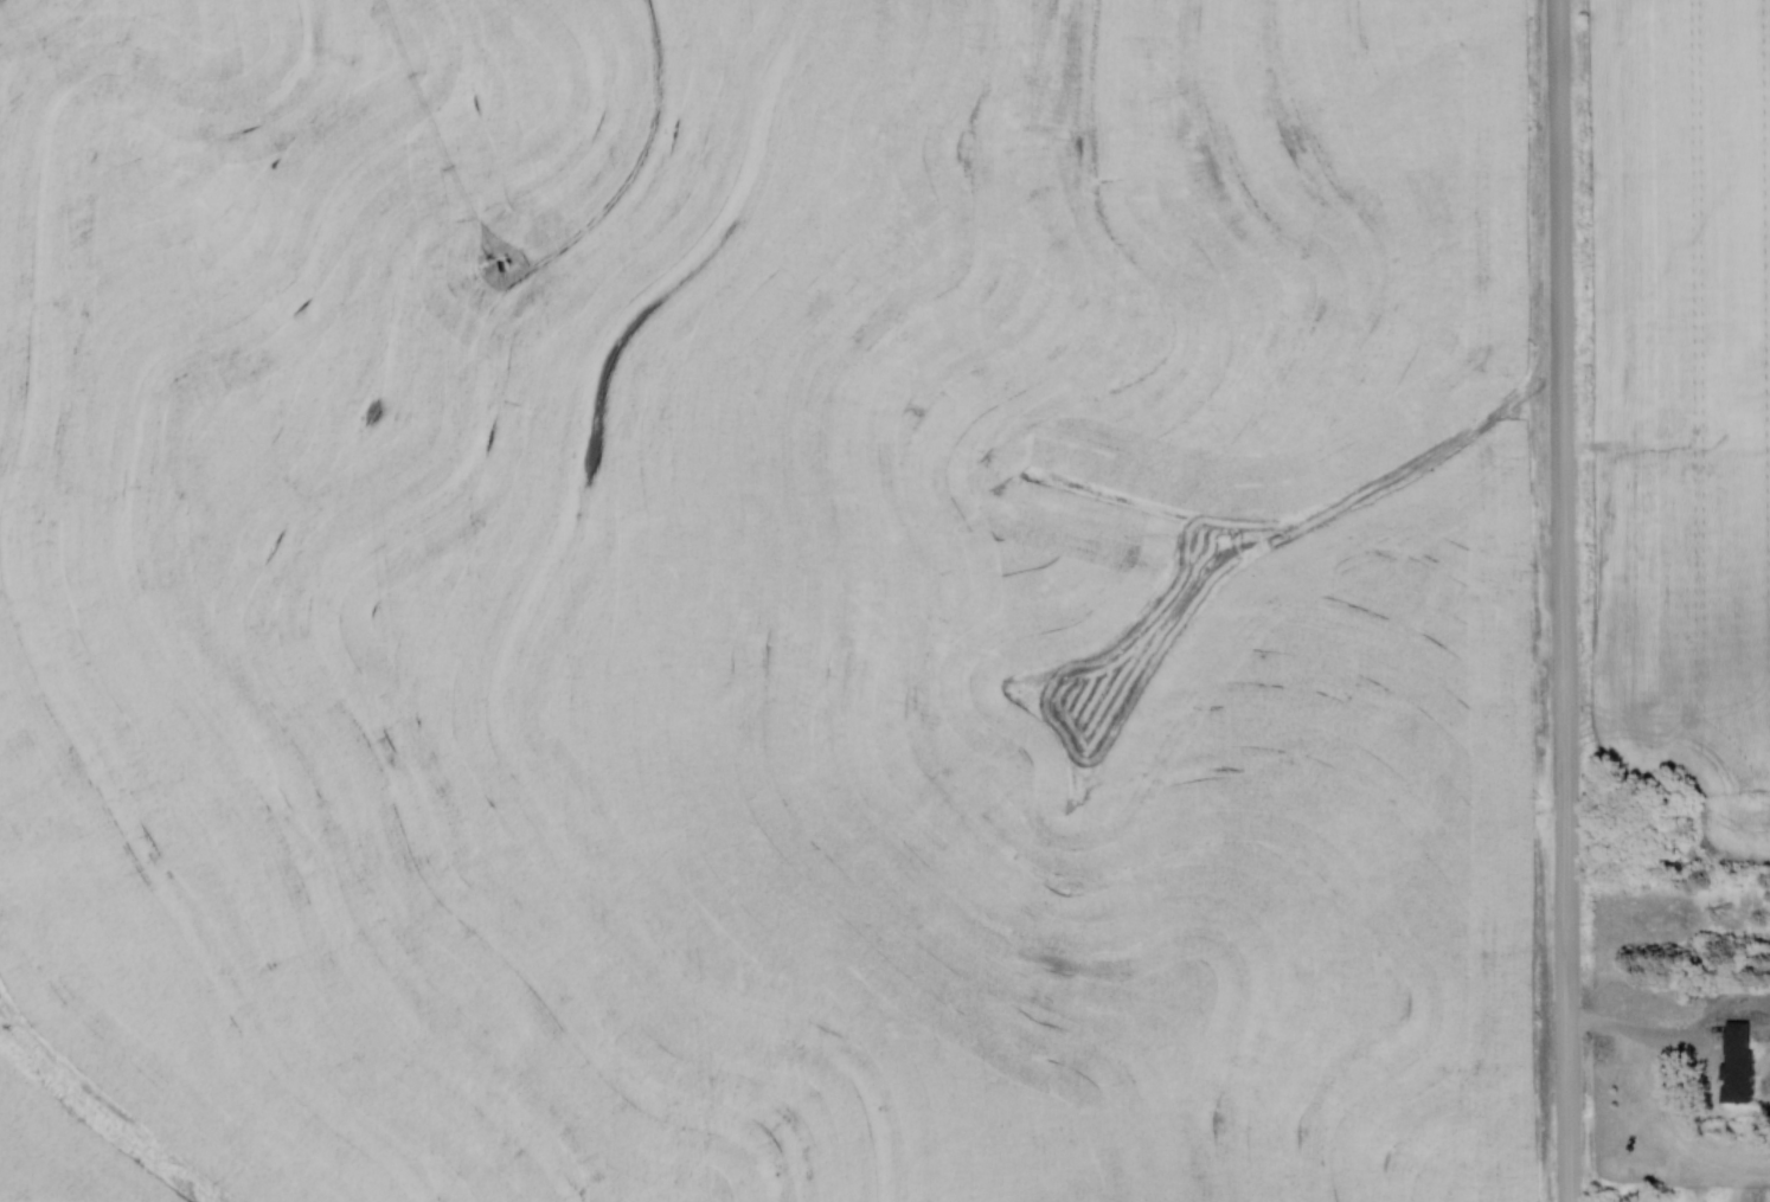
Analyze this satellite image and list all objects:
road: (1575, 600)
building: (1739, 1078)

